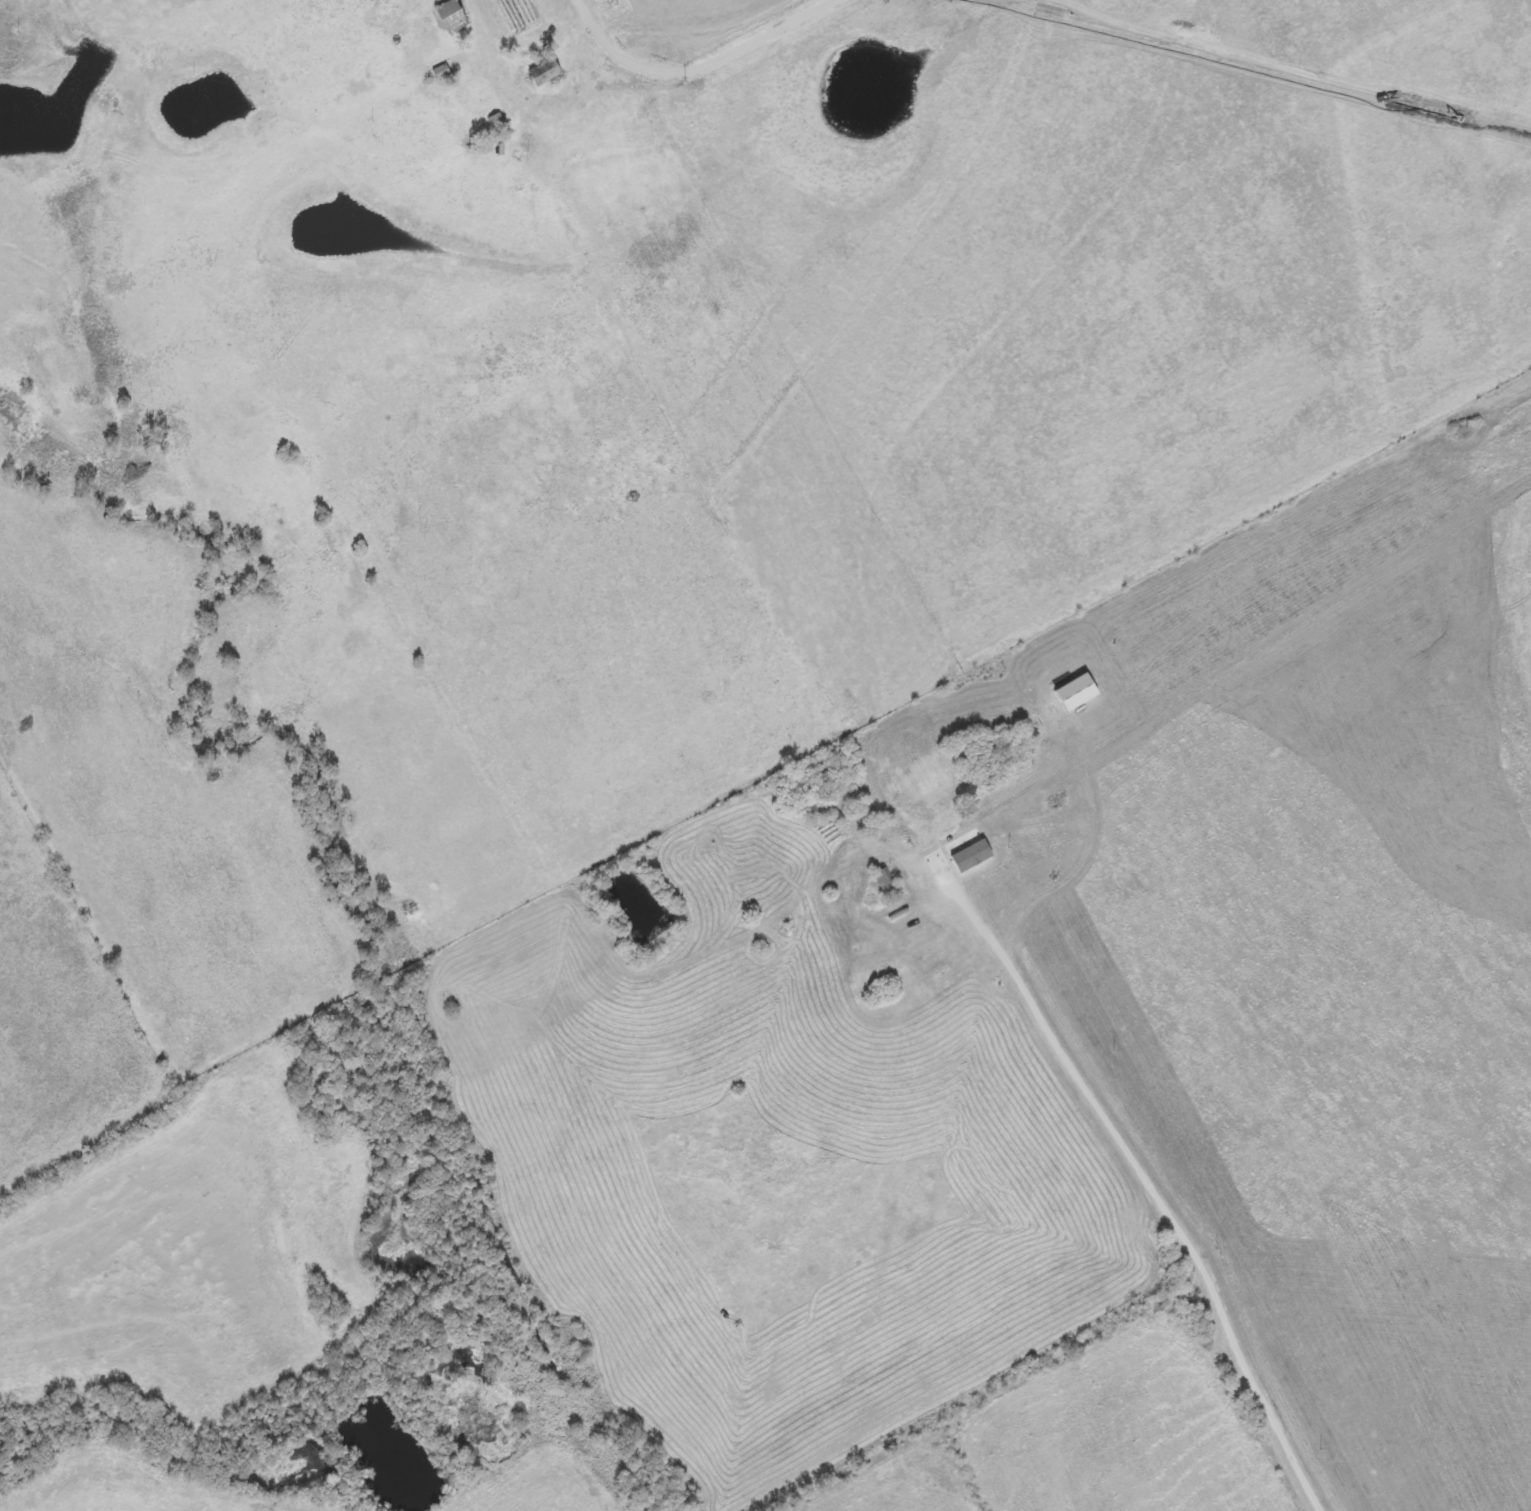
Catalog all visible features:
building: (454, 17)
road: (701, 62)

